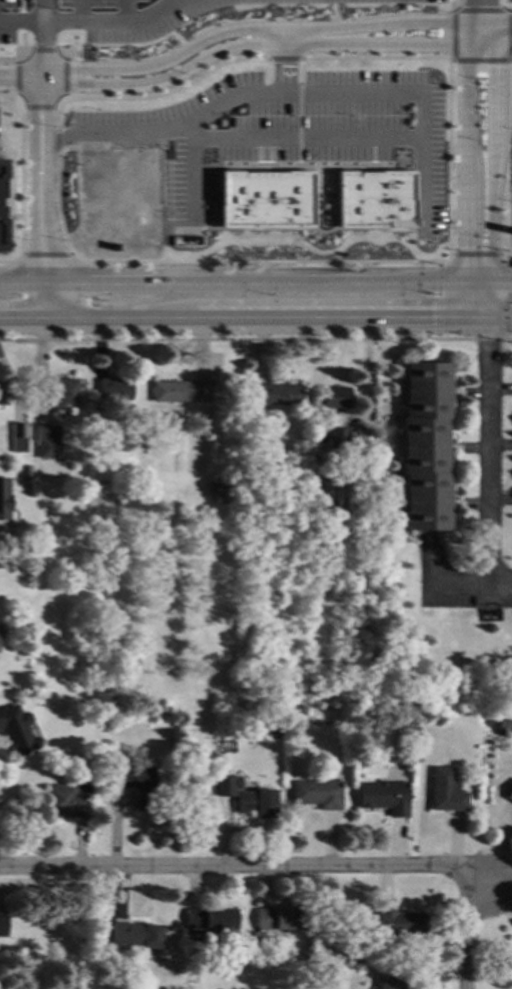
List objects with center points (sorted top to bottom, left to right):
road: (171, 1)
road: (20, 5)
road: (479, 5)
road: (78, 10)
road: (124, 10)
road: (479, 10)
road: (481, 10)
road: (40, 11)
parking lot: (113, 18)
road: (20, 21)
road: (21, 21)
road: (81, 21)
road: (271, 30)
road: (281, 38)
road: (22, 40)
road: (270, 46)
road: (21, 50)
road: (43, 50)
road: (64, 50)
road: (10, 58)
road: (376, 58)
road: (283, 59)
road: (510, 60)
road: (481, 61)
road: (300, 69)
road: (64, 77)
road: (19, 78)
road: (16, 80)
road: (165, 92)
road: (420, 95)
road: (9, 96)
road: (64, 96)
road: (22, 107)
road: (39, 107)
road: (55, 107)
road: (39, 113)
road: (57, 115)
road: (184, 121)
road: (299, 125)
parking lot: (293, 133)
road: (305, 139)
road: (57, 142)
road: (258, 152)
road: (270, 152)
road: (373, 152)
road: (466, 153)
road: (495, 153)
road: (448, 158)
road: (507, 161)
road: (281, 166)
road: (190, 174)
road: (21, 175)
building: (264, 199)
building: (374, 199)
road: (57, 206)
road: (305, 229)
road: (335, 230)
road: (39, 233)
road: (303, 247)
traffic signals: (468, 248)
road: (476, 254)
road: (508, 259)
road: (224, 262)
road: (20, 282)
road: (123, 282)
road: (501, 282)
road: (270, 283)
road: (400, 283)
road: (479, 283)
road: (470, 290)
road: (482, 290)
road: (437, 300)
road: (285, 301)
traffic signals: (432, 301)
road: (488, 301)
road: (494, 304)
road: (479, 308)
road: (242, 319)
traffic signals: (432, 319)
road: (498, 320)
traffic signals: (484, 345)
building: (114, 388)
building: (179, 390)
building: (61, 391)
building: (276, 393)
building: (0, 394)
building: (333, 396)
building: (249, 422)
building: (19, 435)
building: (48, 440)
building: (337, 440)
building: (423, 445)
road: (483, 451)
building: (25, 471)
building: (329, 472)
building: (220, 488)
building: (250, 489)
building: (4, 498)
building: (108, 524)
road: (469, 583)
building: (28, 690)
building: (300, 709)
building: (445, 709)
building: (151, 717)
building: (500, 725)
building: (272, 729)
building: (16, 730)
building: (97, 759)
building: (139, 784)
building: (225, 784)
building: (444, 790)
building: (316, 793)
building: (509, 793)
building: (382, 796)
building: (67, 800)
building: (255, 801)
road: (251, 866)
building: (279, 919)
building: (209, 920)
building: (398, 923)
building: (2, 924)
road: (466, 928)
building: (136, 933)
building: (306, 957)
building: (353, 958)
building: (390, 982)

